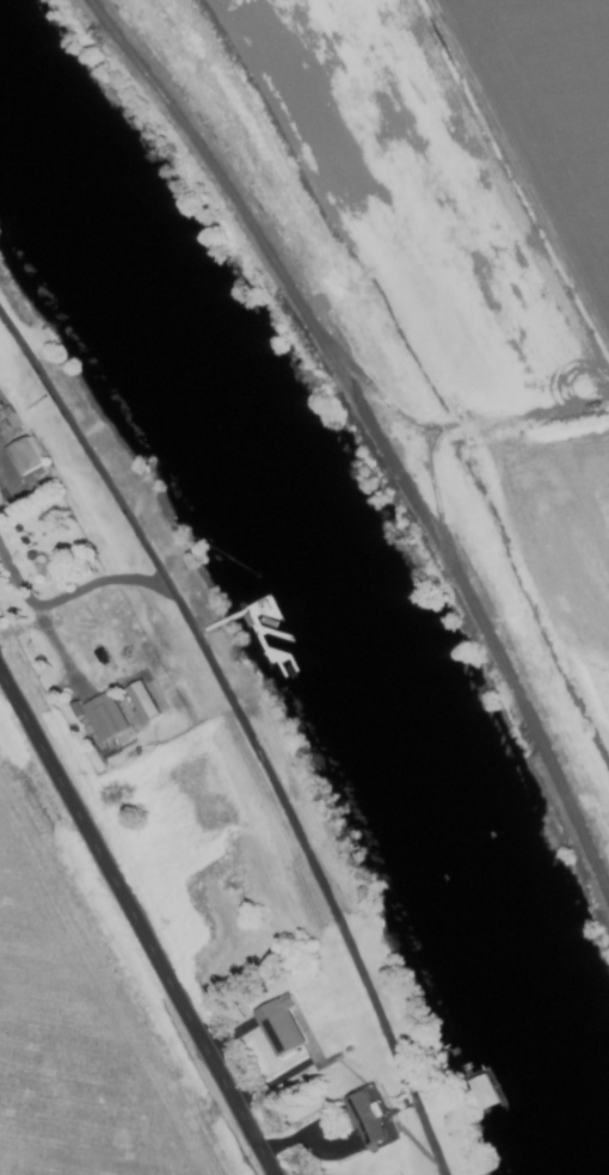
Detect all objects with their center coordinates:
crop: (438, 264)
building: (23, 456)
road: (33, 613)
building: (137, 700)
building: (100, 715)
road: (284, 810)
road: (136, 923)
building: (276, 1025)
crop: (82, 1032)
building: (362, 1114)

